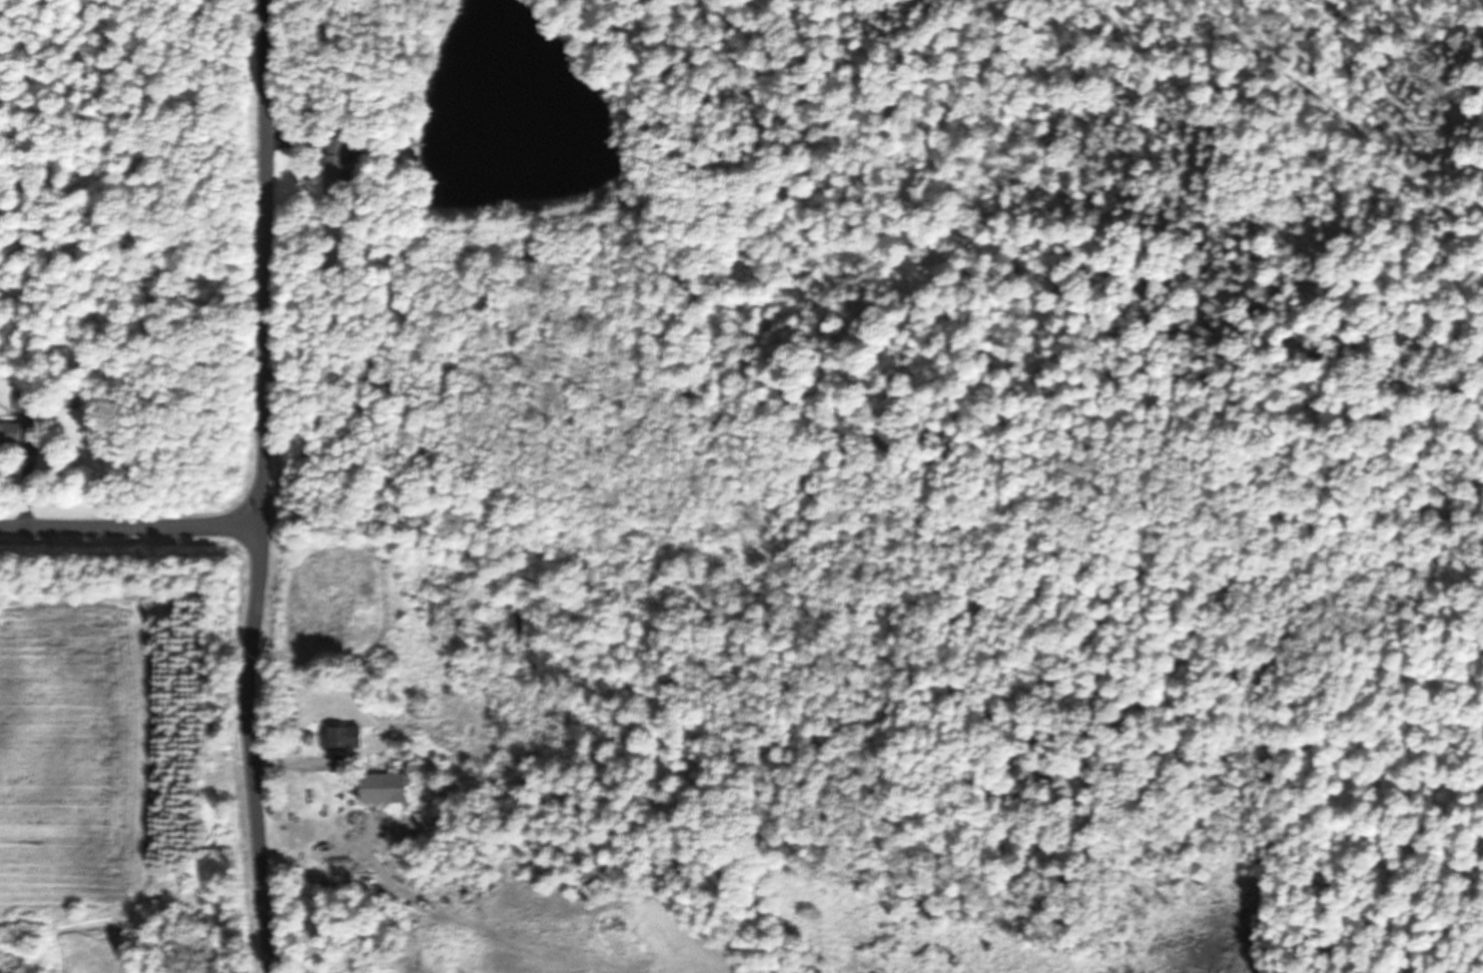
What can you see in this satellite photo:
building: (337, 164)
building: (25, 401)
building: (11, 434)
road: (264, 487)
road: (131, 524)
building: (344, 737)
building: (407, 787)

